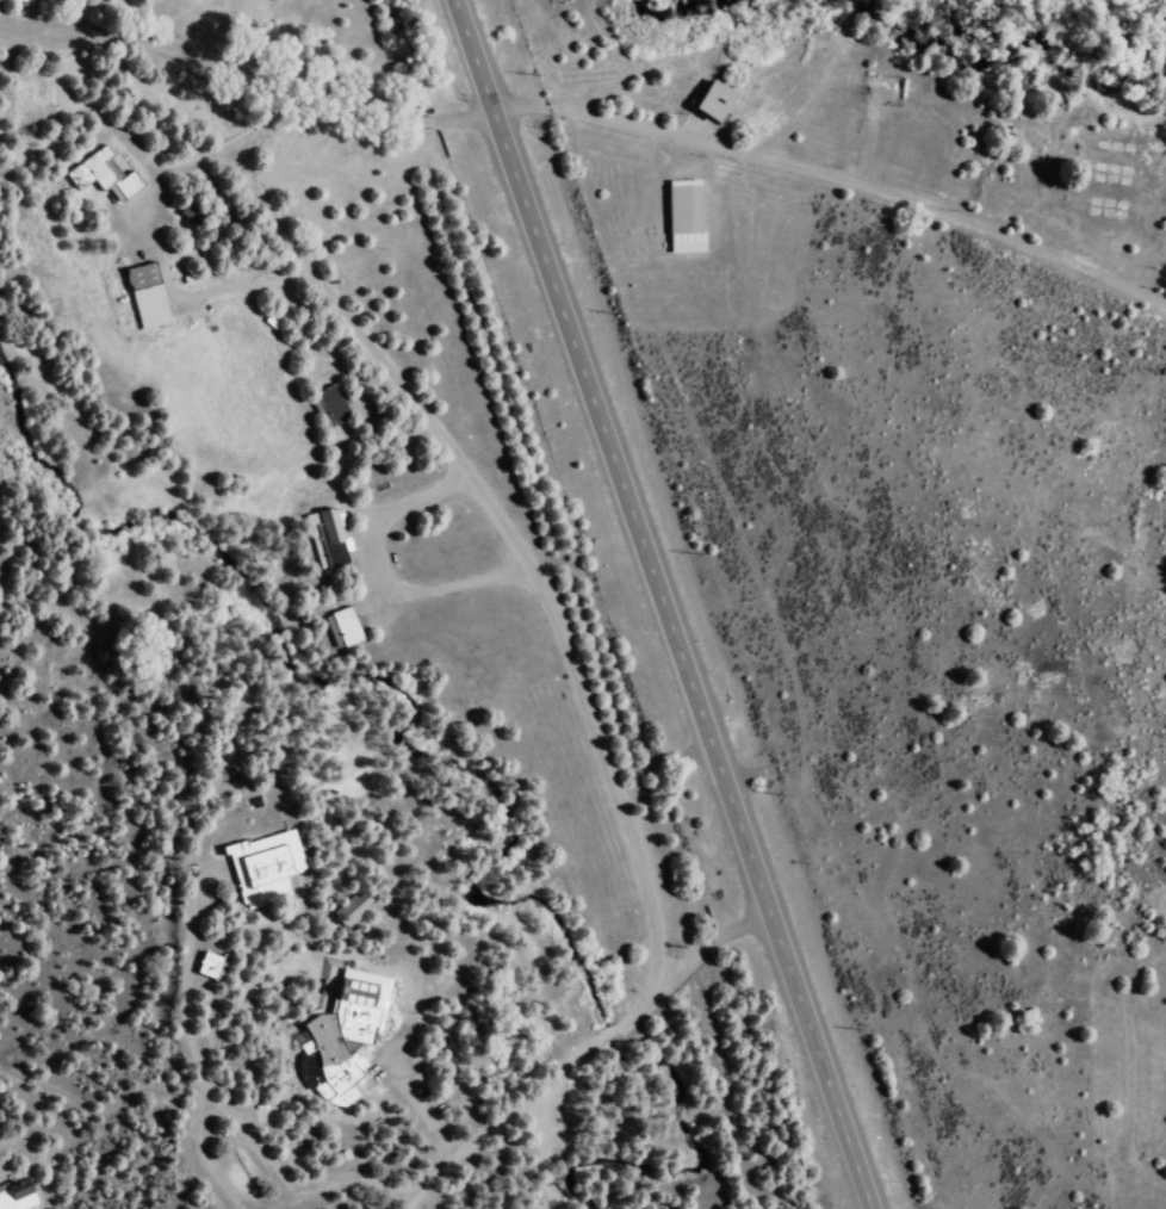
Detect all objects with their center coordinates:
building: (20, 1)
road: (244, 45)
road: (804, 82)
building: (708, 101)
road: (585, 126)
building: (100, 175)
building: (682, 216)
building: (144, 294)
road: (361, 335)
building: (327, 405)
building: (323, 538)
road: (663, 603)
building: (340, 627)
road: (193, 655)
road: (610, 775)
building: (262, 867)
building: (352, 906)
building: (209, 965)
road: (644, 1003)
building: (353, 1011)
road: (194, 1042)
building: (323, 1067)
road: (473, 1157)
road: (538, 1161)
building: (15, 1195)

